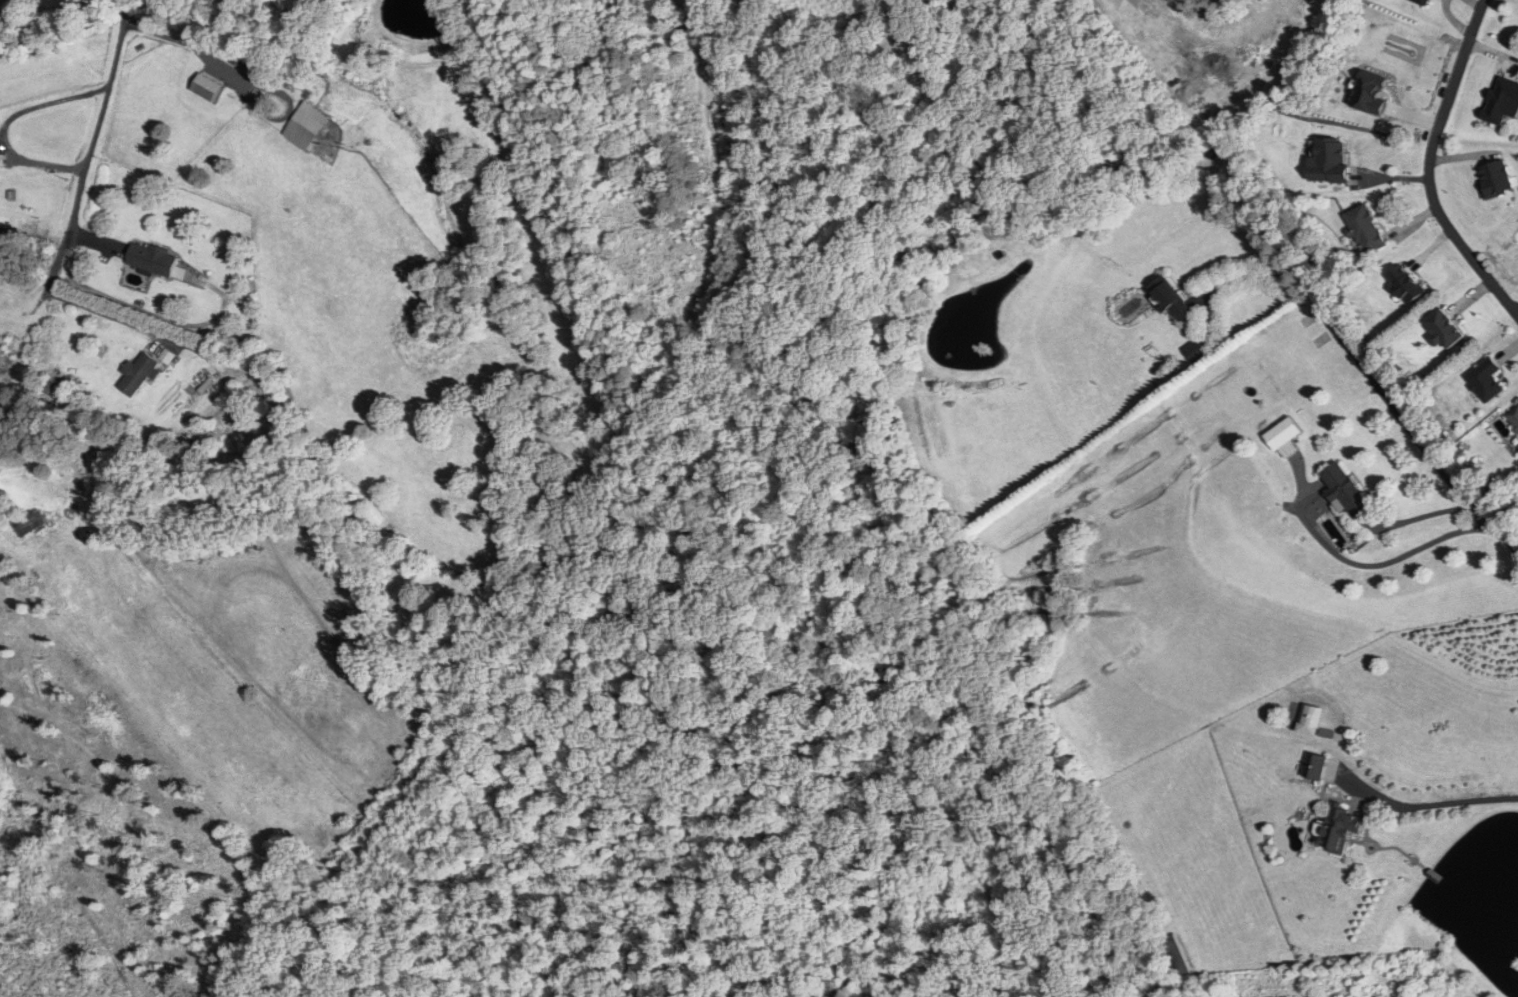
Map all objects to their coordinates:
building: (1422, 2)
building: (238, 58)
road: (241, 75)
building: (1502, 101)
road: (5, 125)
building: (315, 125)
road: (92, 139)
building: (1328, 160)
road: (1430, 166)
building: (1496, 180)
building: (1363, 229)
building: (151, 259)
road: (1248, 276)
building: (1405, 284)
building: (1171, 300)
building: (1444, 328)
building: (1194, 351)
building: (138, 374)
building: (1484, 380)
building: (54, 389)
building: (1513, 418)
road: (1403, 423)
building: (1284, 437)
building: (1517, 445)
building: (1344, 492)
road: (1419, 517)
building: (26, 523)
building: (1313, 765)
road: (1442, 802)
building: (1338, 829)

